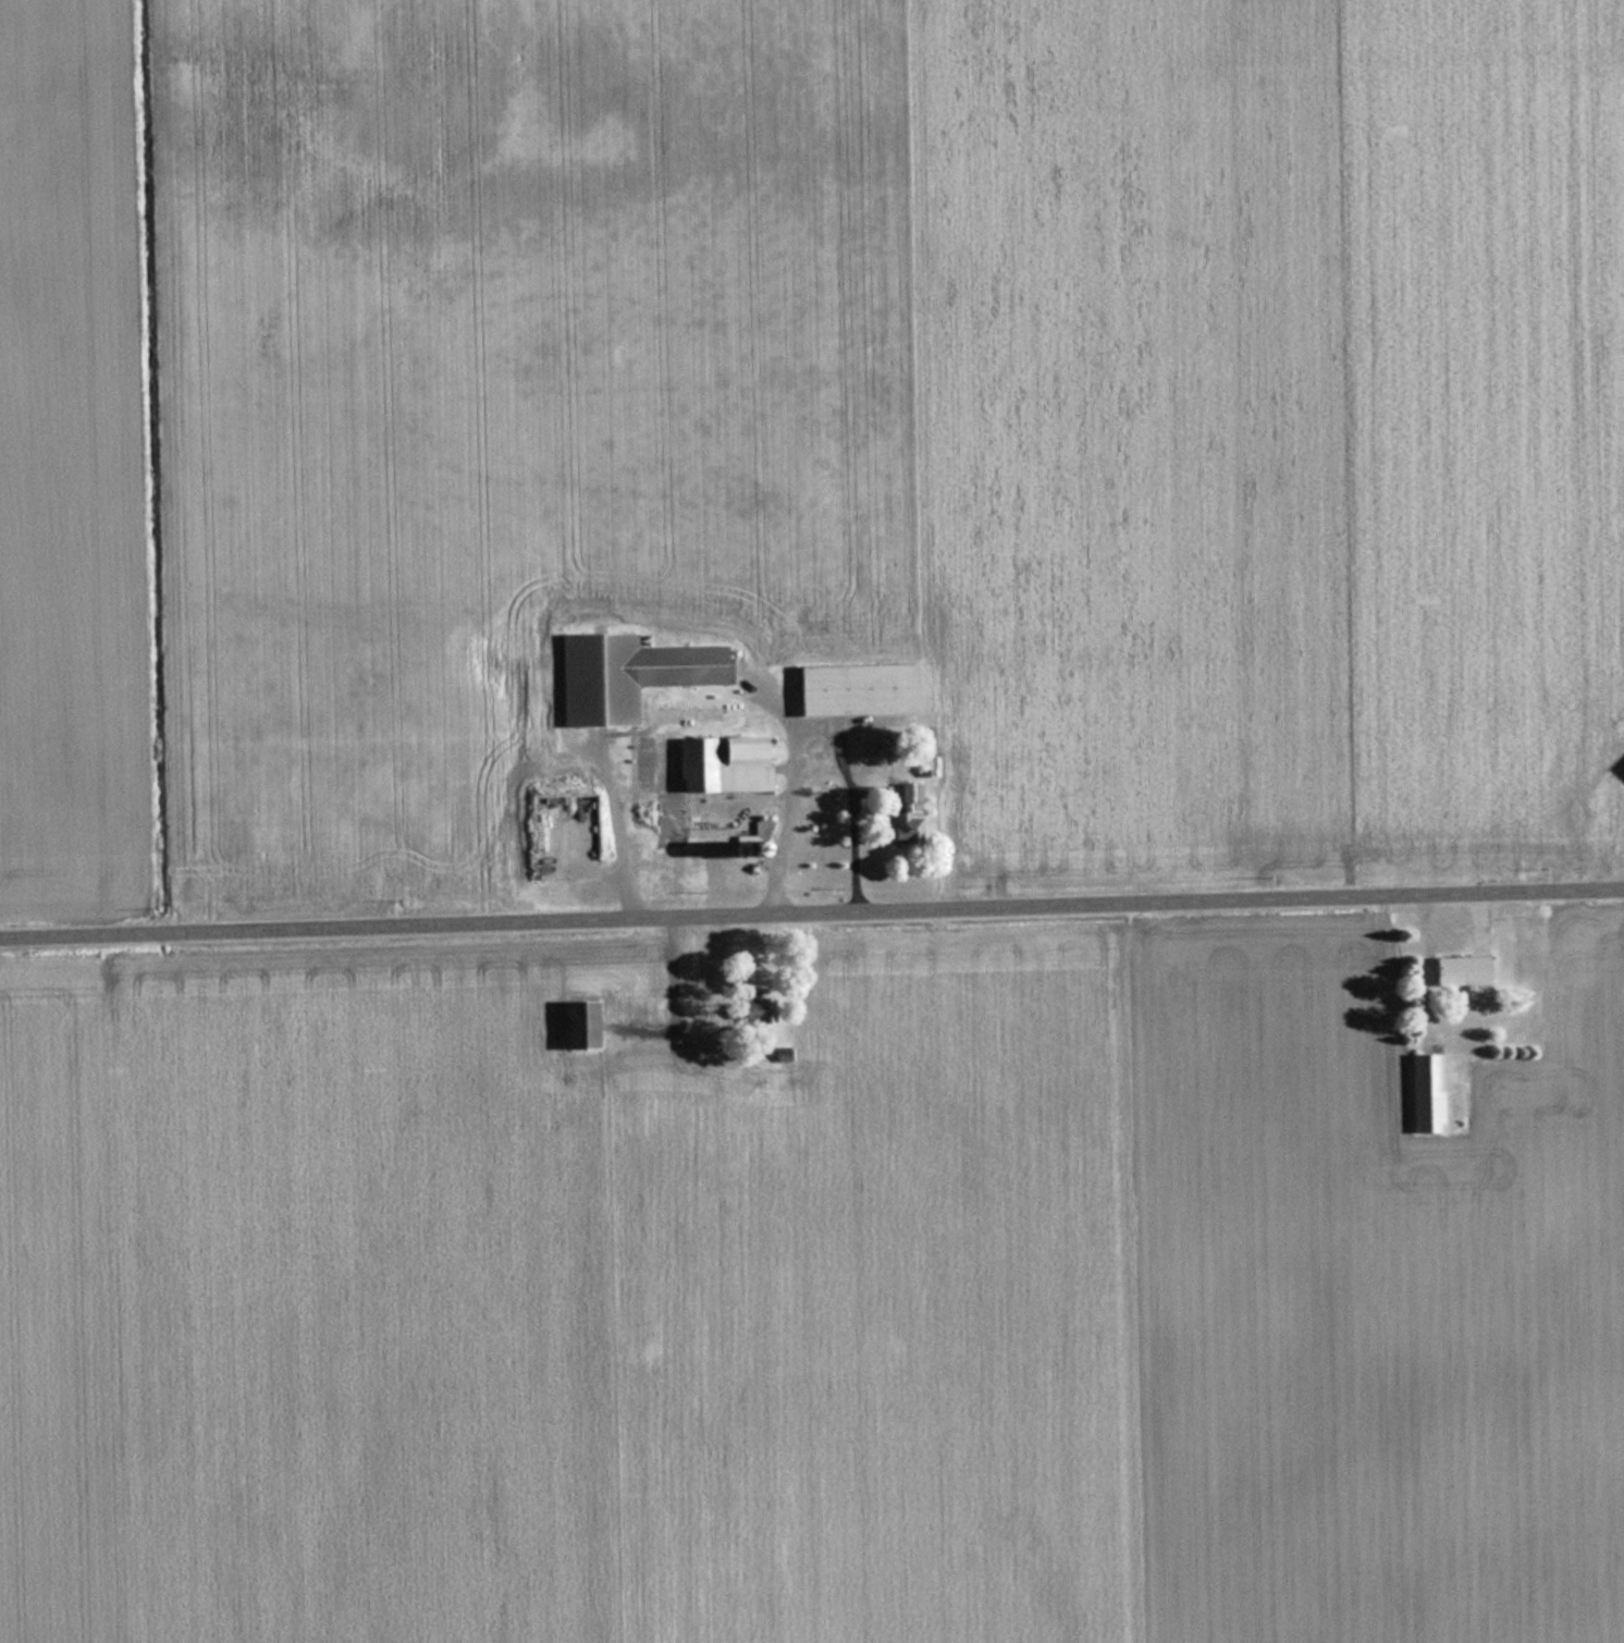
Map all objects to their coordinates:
building: (624, 674)
building: (852, 688)
building: (723, 763)
building: (1607, 805)
building: (905, 817)
road: (812, 917)
building: (1459, 969)
building: (751, 1014)
building: (574, 1023)
building: (1426, 1091)

